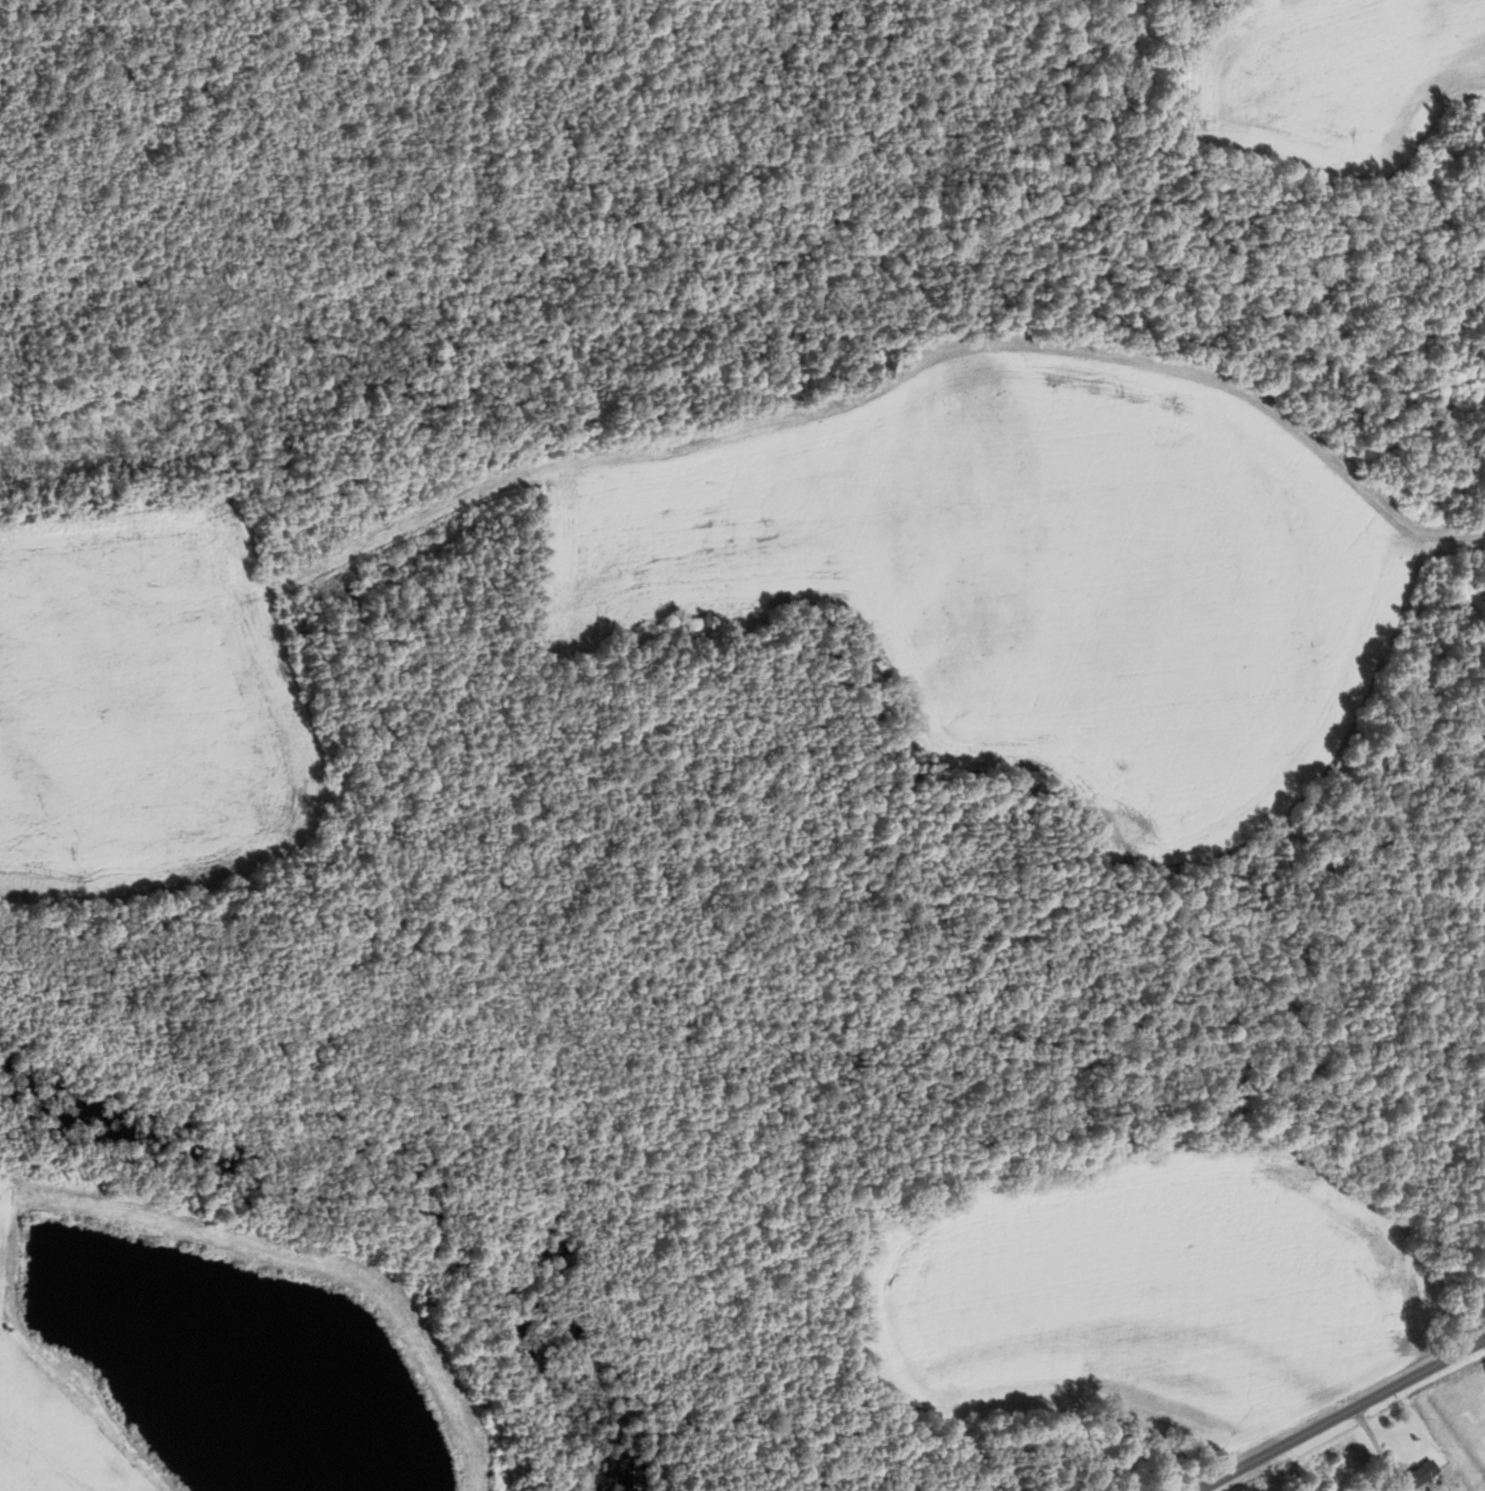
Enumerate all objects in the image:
road: (1342, 1415)
building: (1419, 1473)

